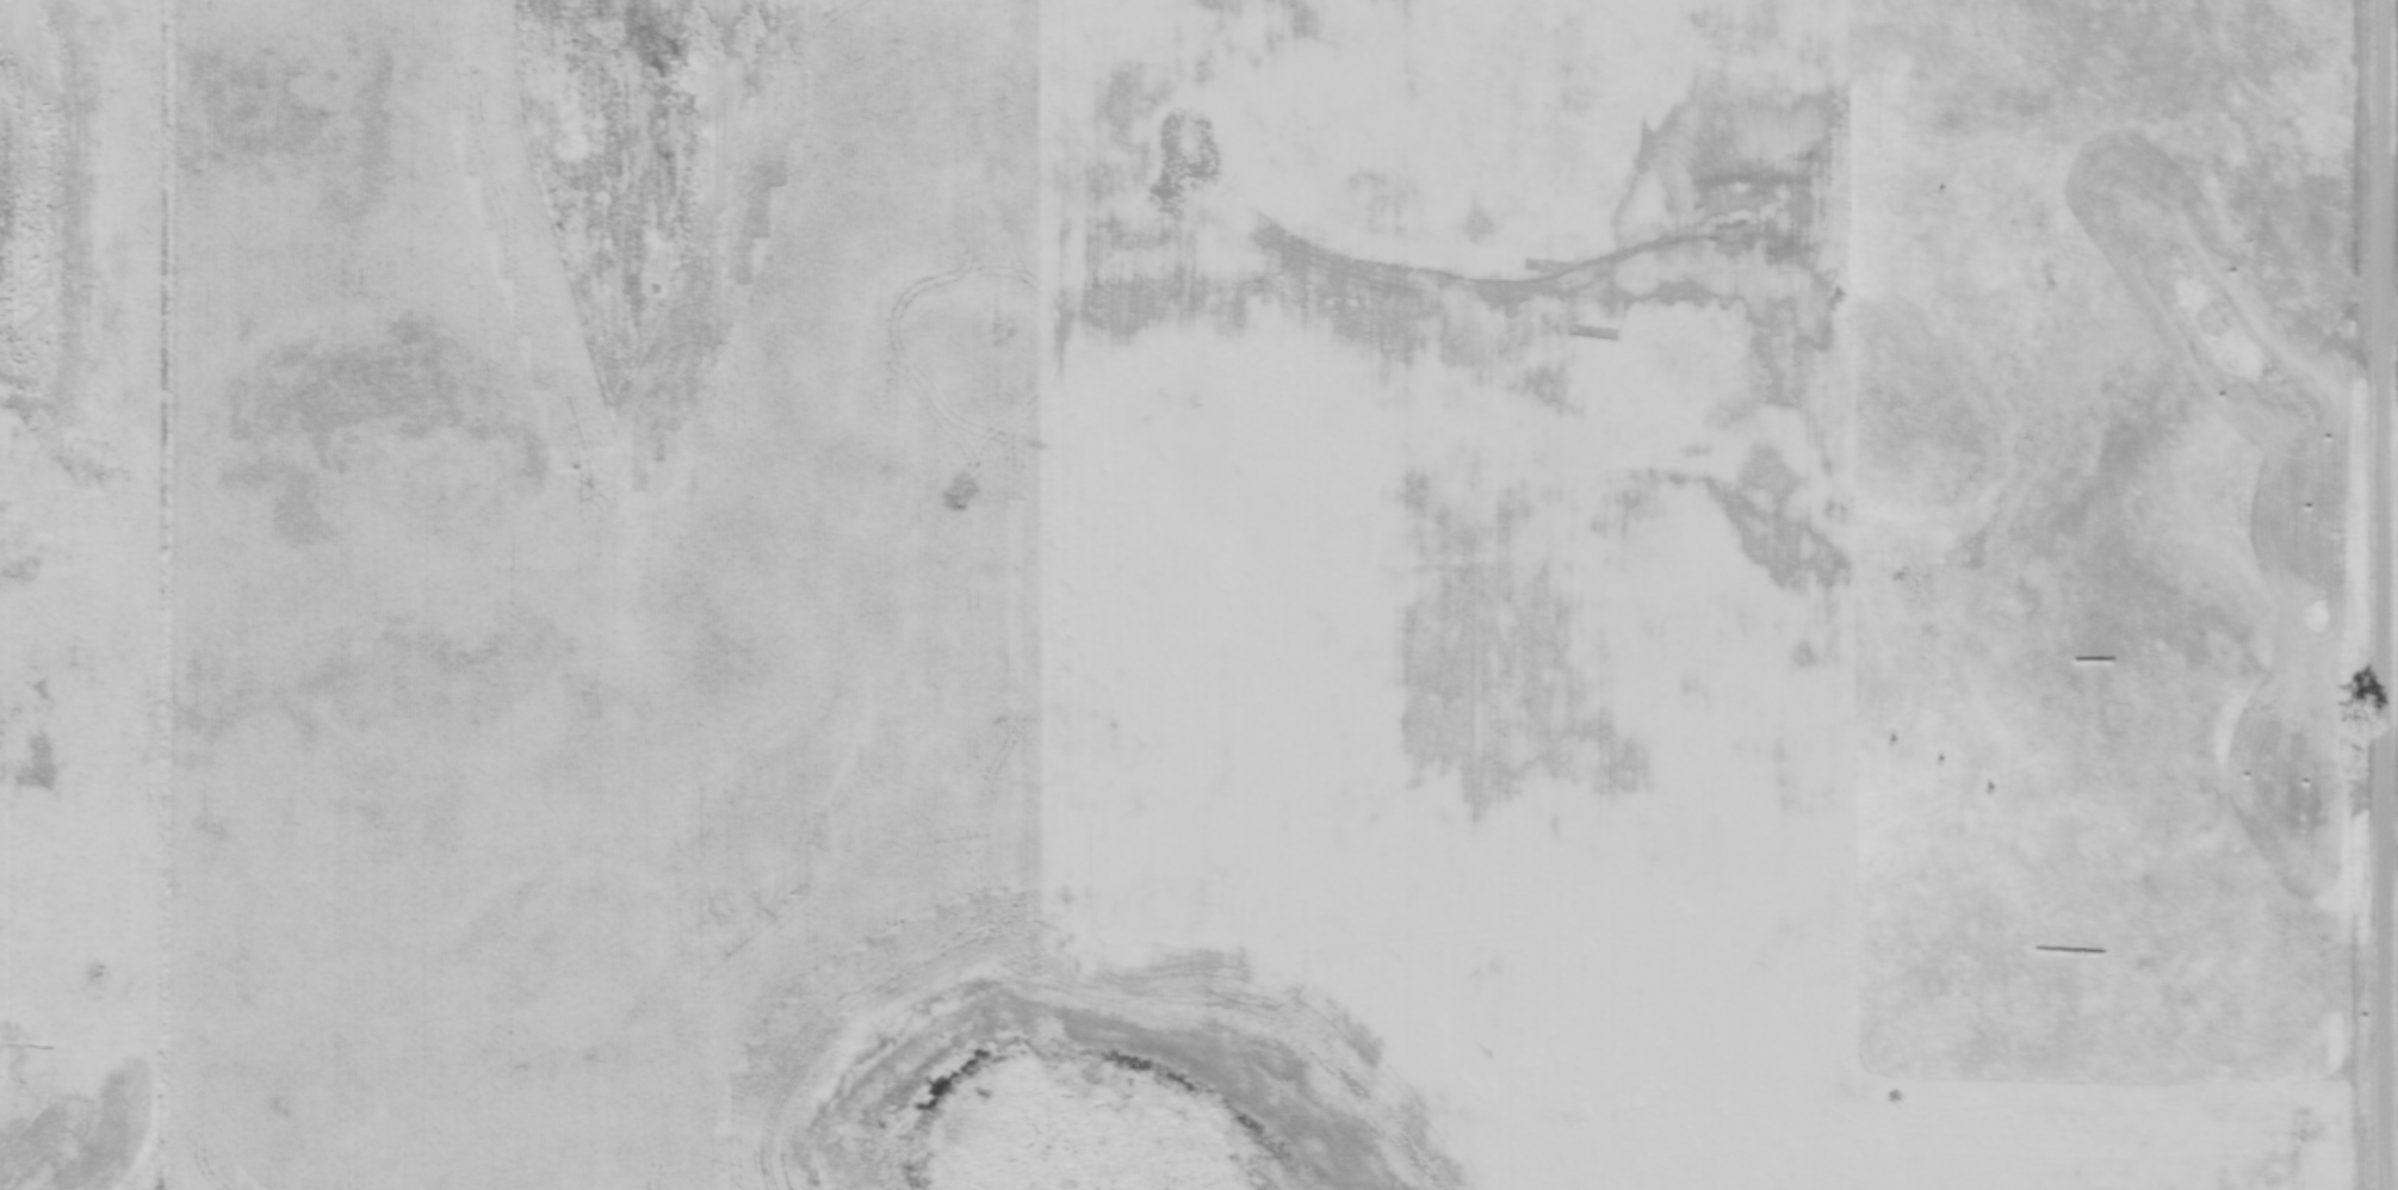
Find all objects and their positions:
road: (2392, 312)
road: (2386, 595)

